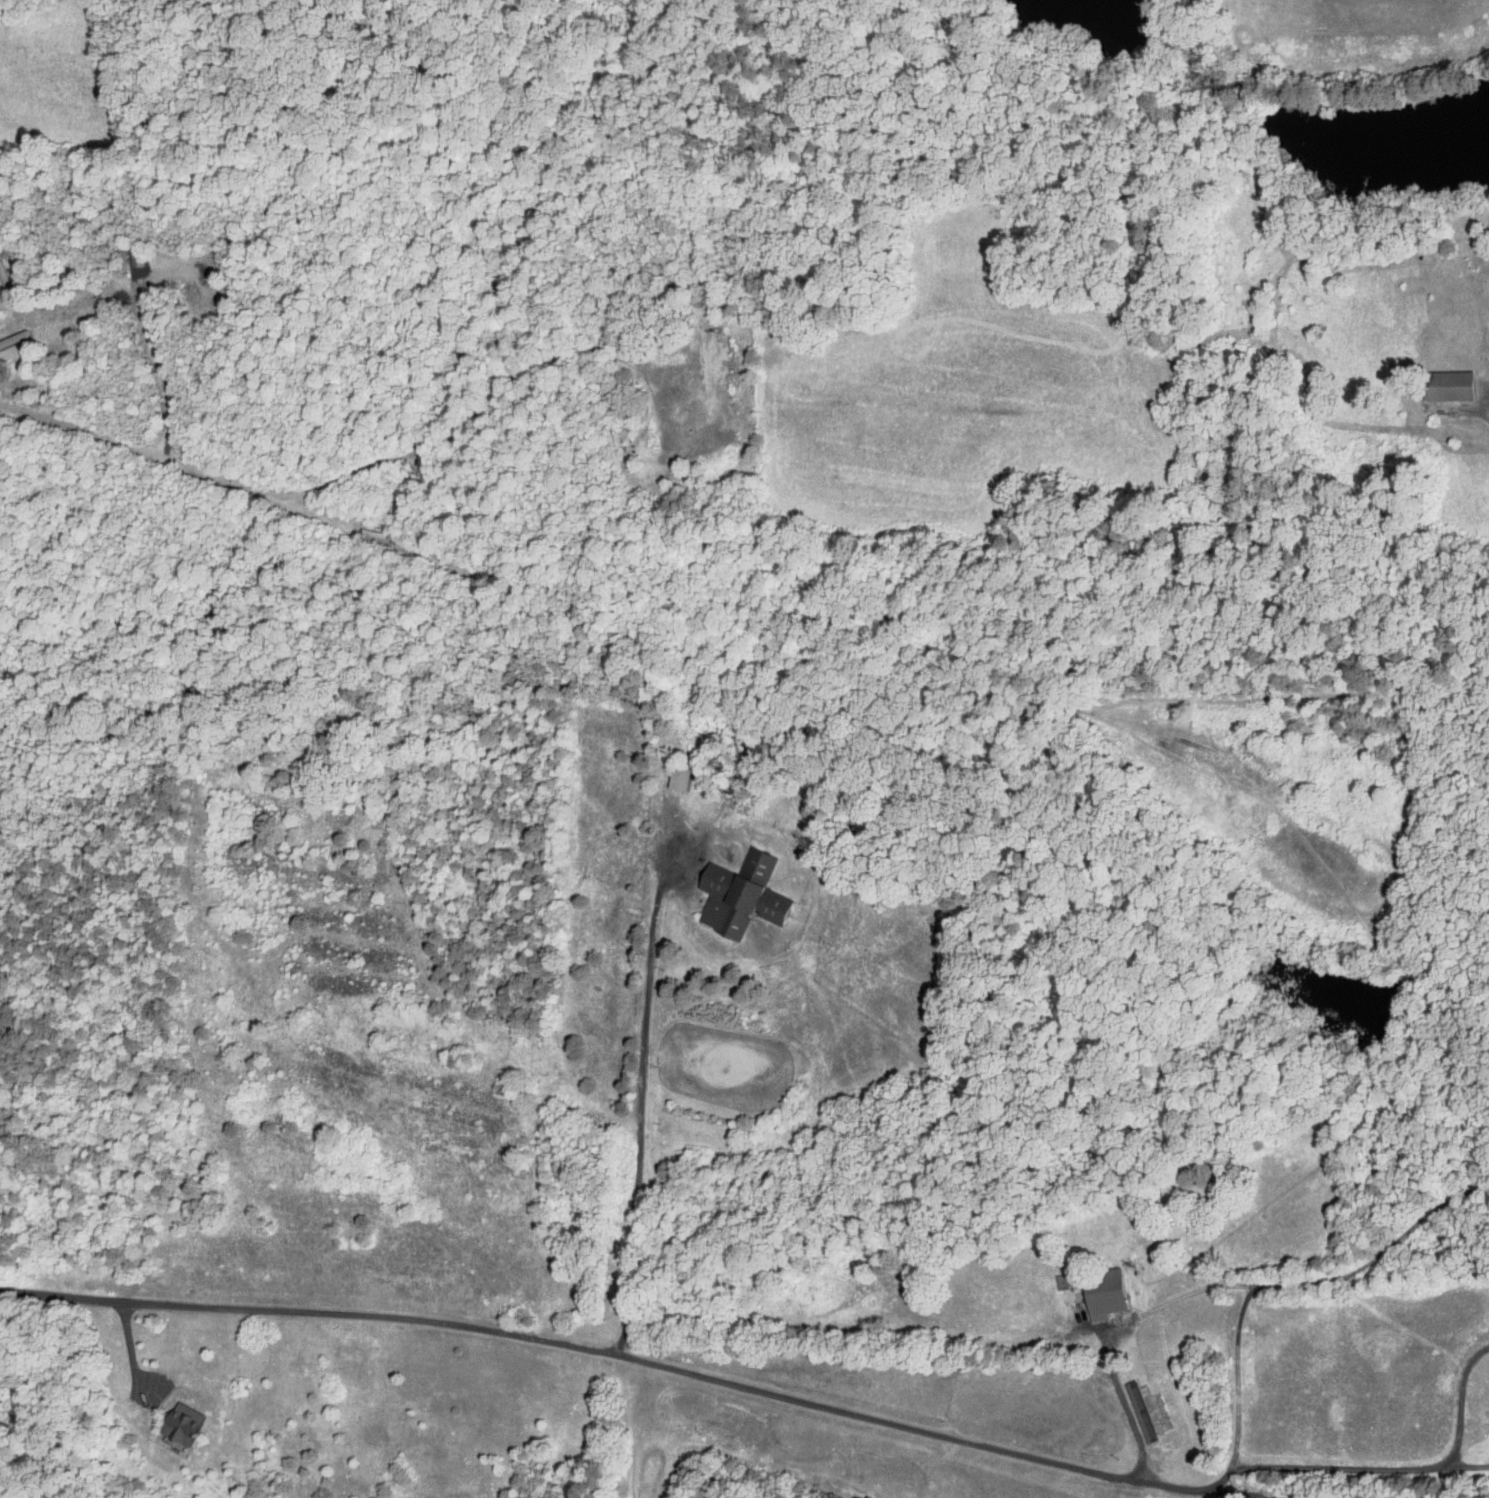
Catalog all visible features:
building: (14, 338)
building: (1451, 385)
building: (742, 895)
road: (641, 1093)
building: (1106, 1294)
road: (132, 1346)
road: (634, 1356)
building: (1140, 1409)
road: (1124, 1411)
building: (183, 1422)
road: (1392, 1468)

